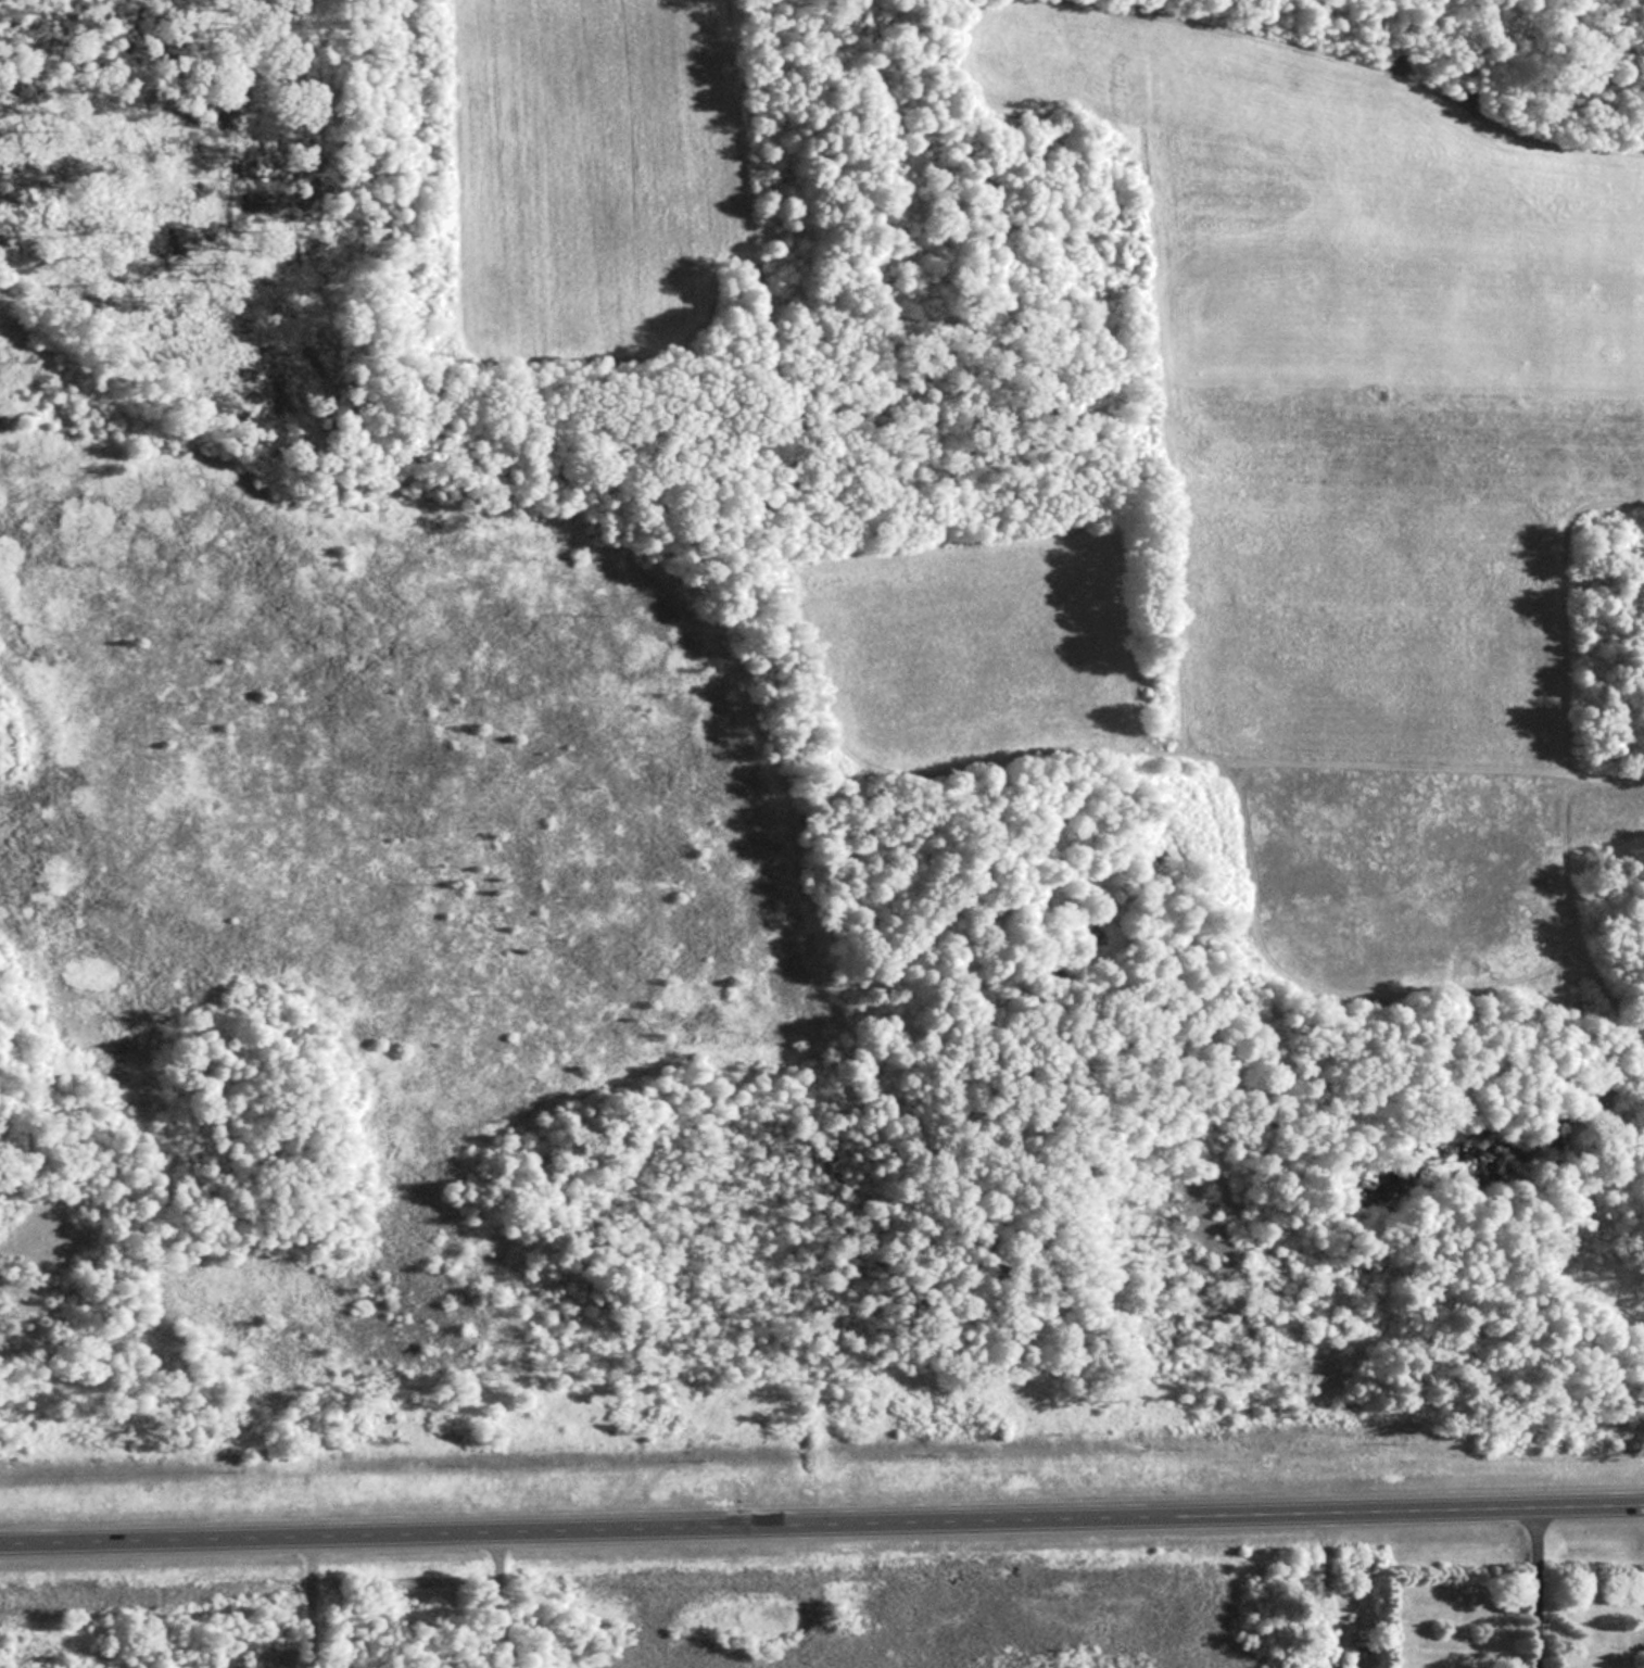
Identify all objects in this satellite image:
park: (162, 783)
road: (822, 1526)
road: (1533, 1588)
road: (306, 1604)
building: (1319, 1660)

